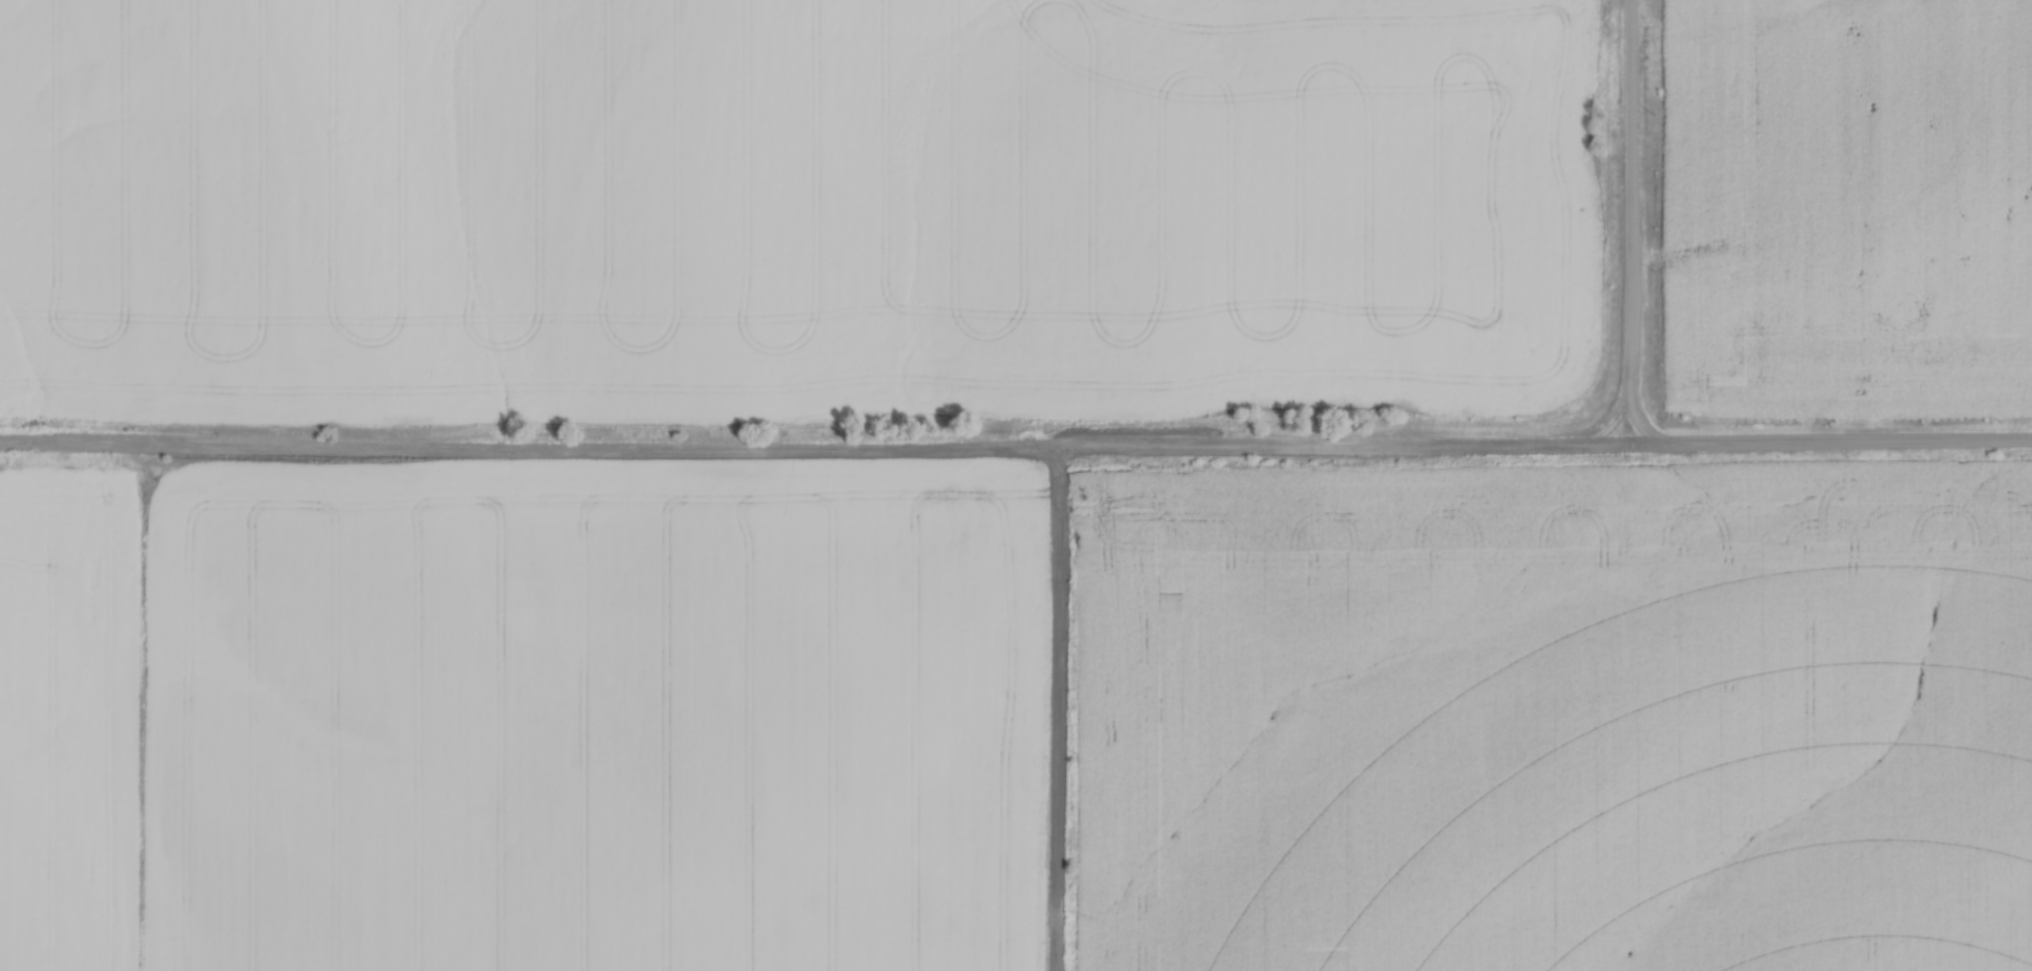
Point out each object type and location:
road: (1630, 223)
road: (1015, 448)
road: (1053, 709)

